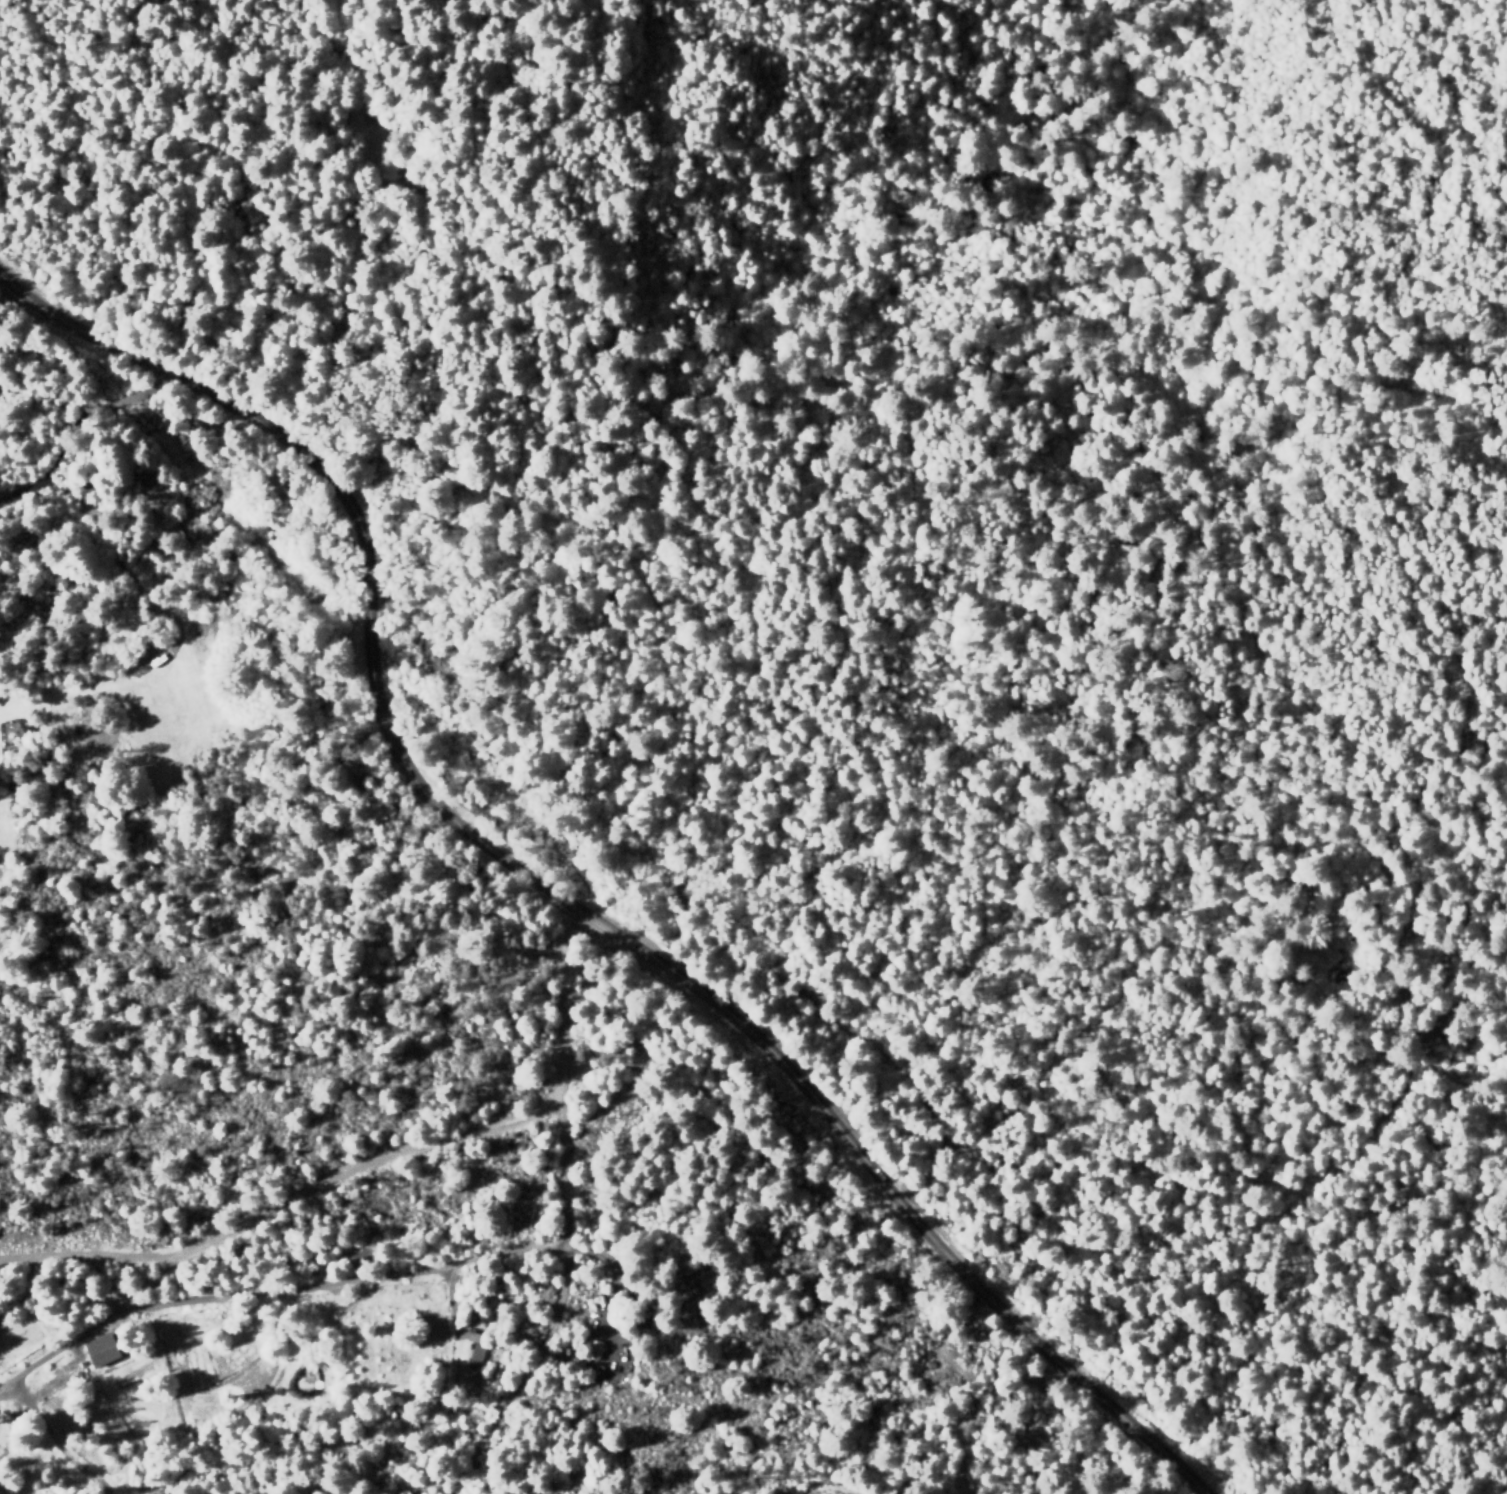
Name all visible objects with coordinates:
road: (553, 895)
road: (261, 1217)
road: (566, 1224)
road: (94, 1257)
building: (97, 1350)
building: (473, 1355)

